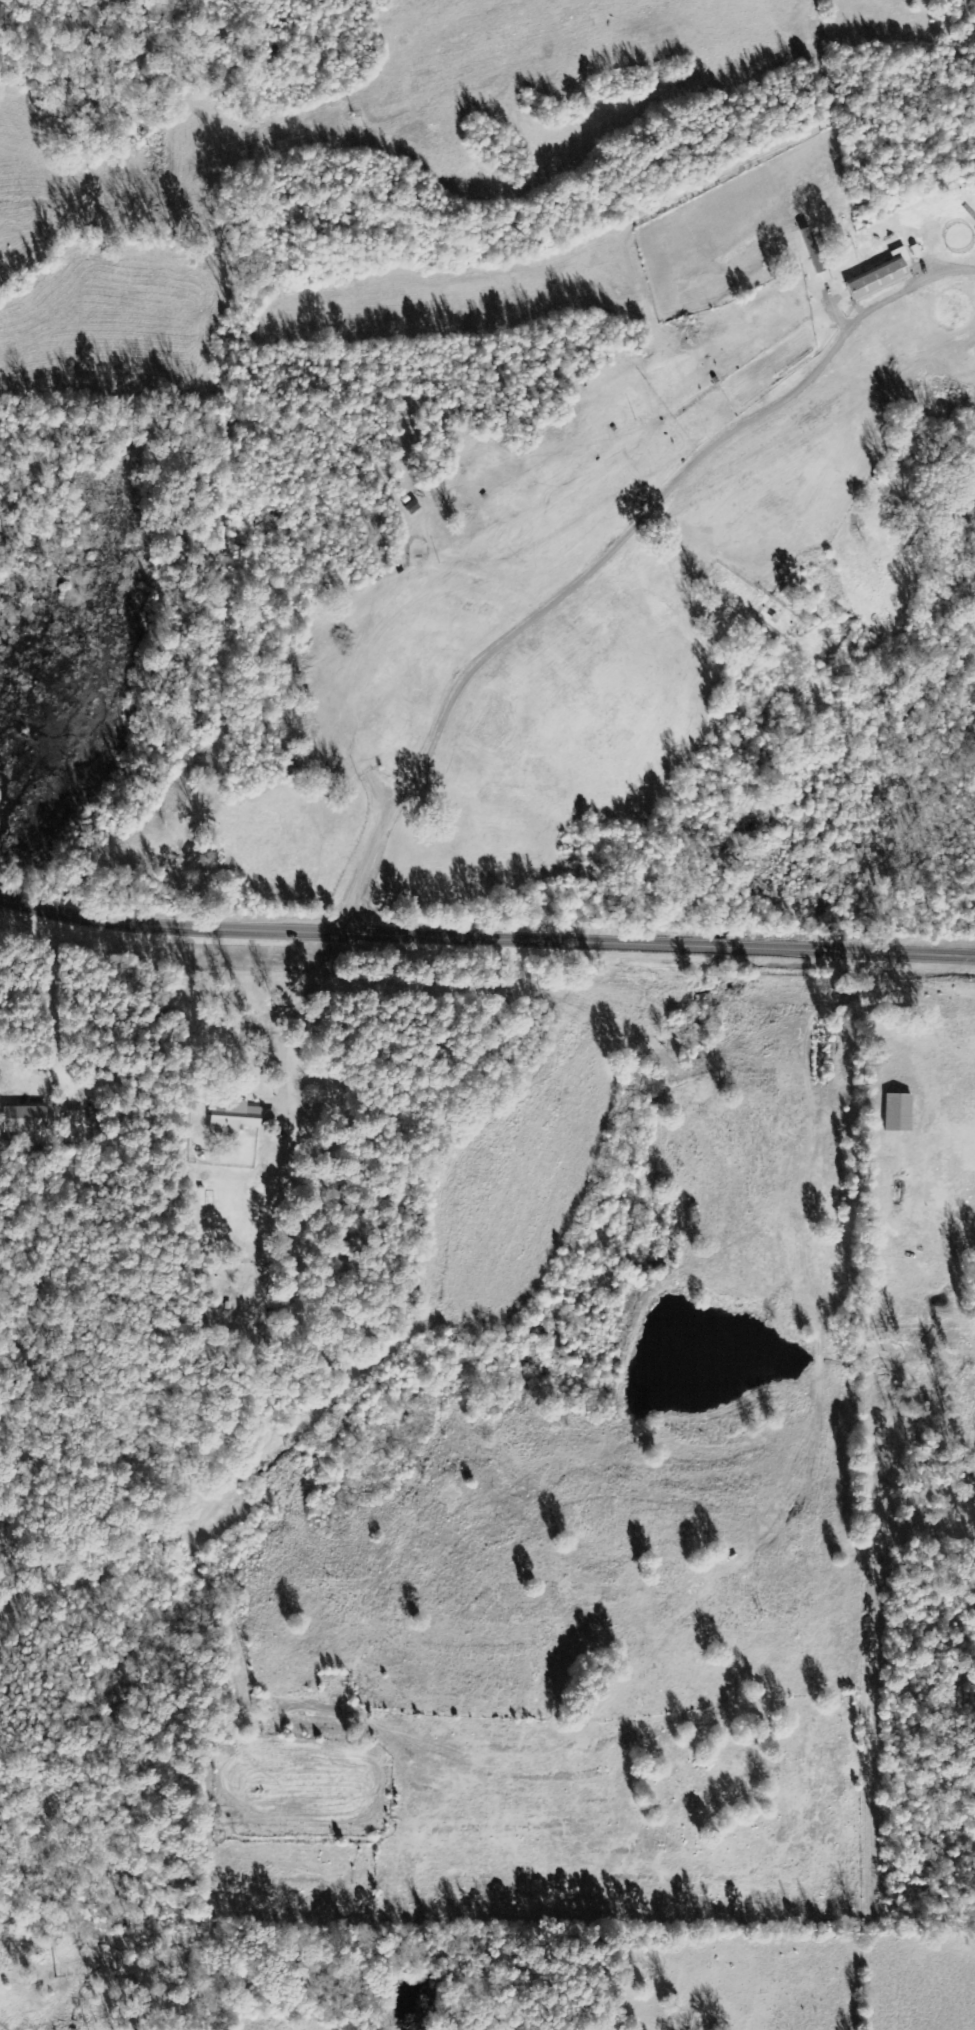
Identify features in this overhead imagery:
building: (882, 276)
road: (549, 596)
road: (486, 937)
building: (899, 1114)
building: (77, 1118)
building: (235, 1118)
building: (26, 1120)

